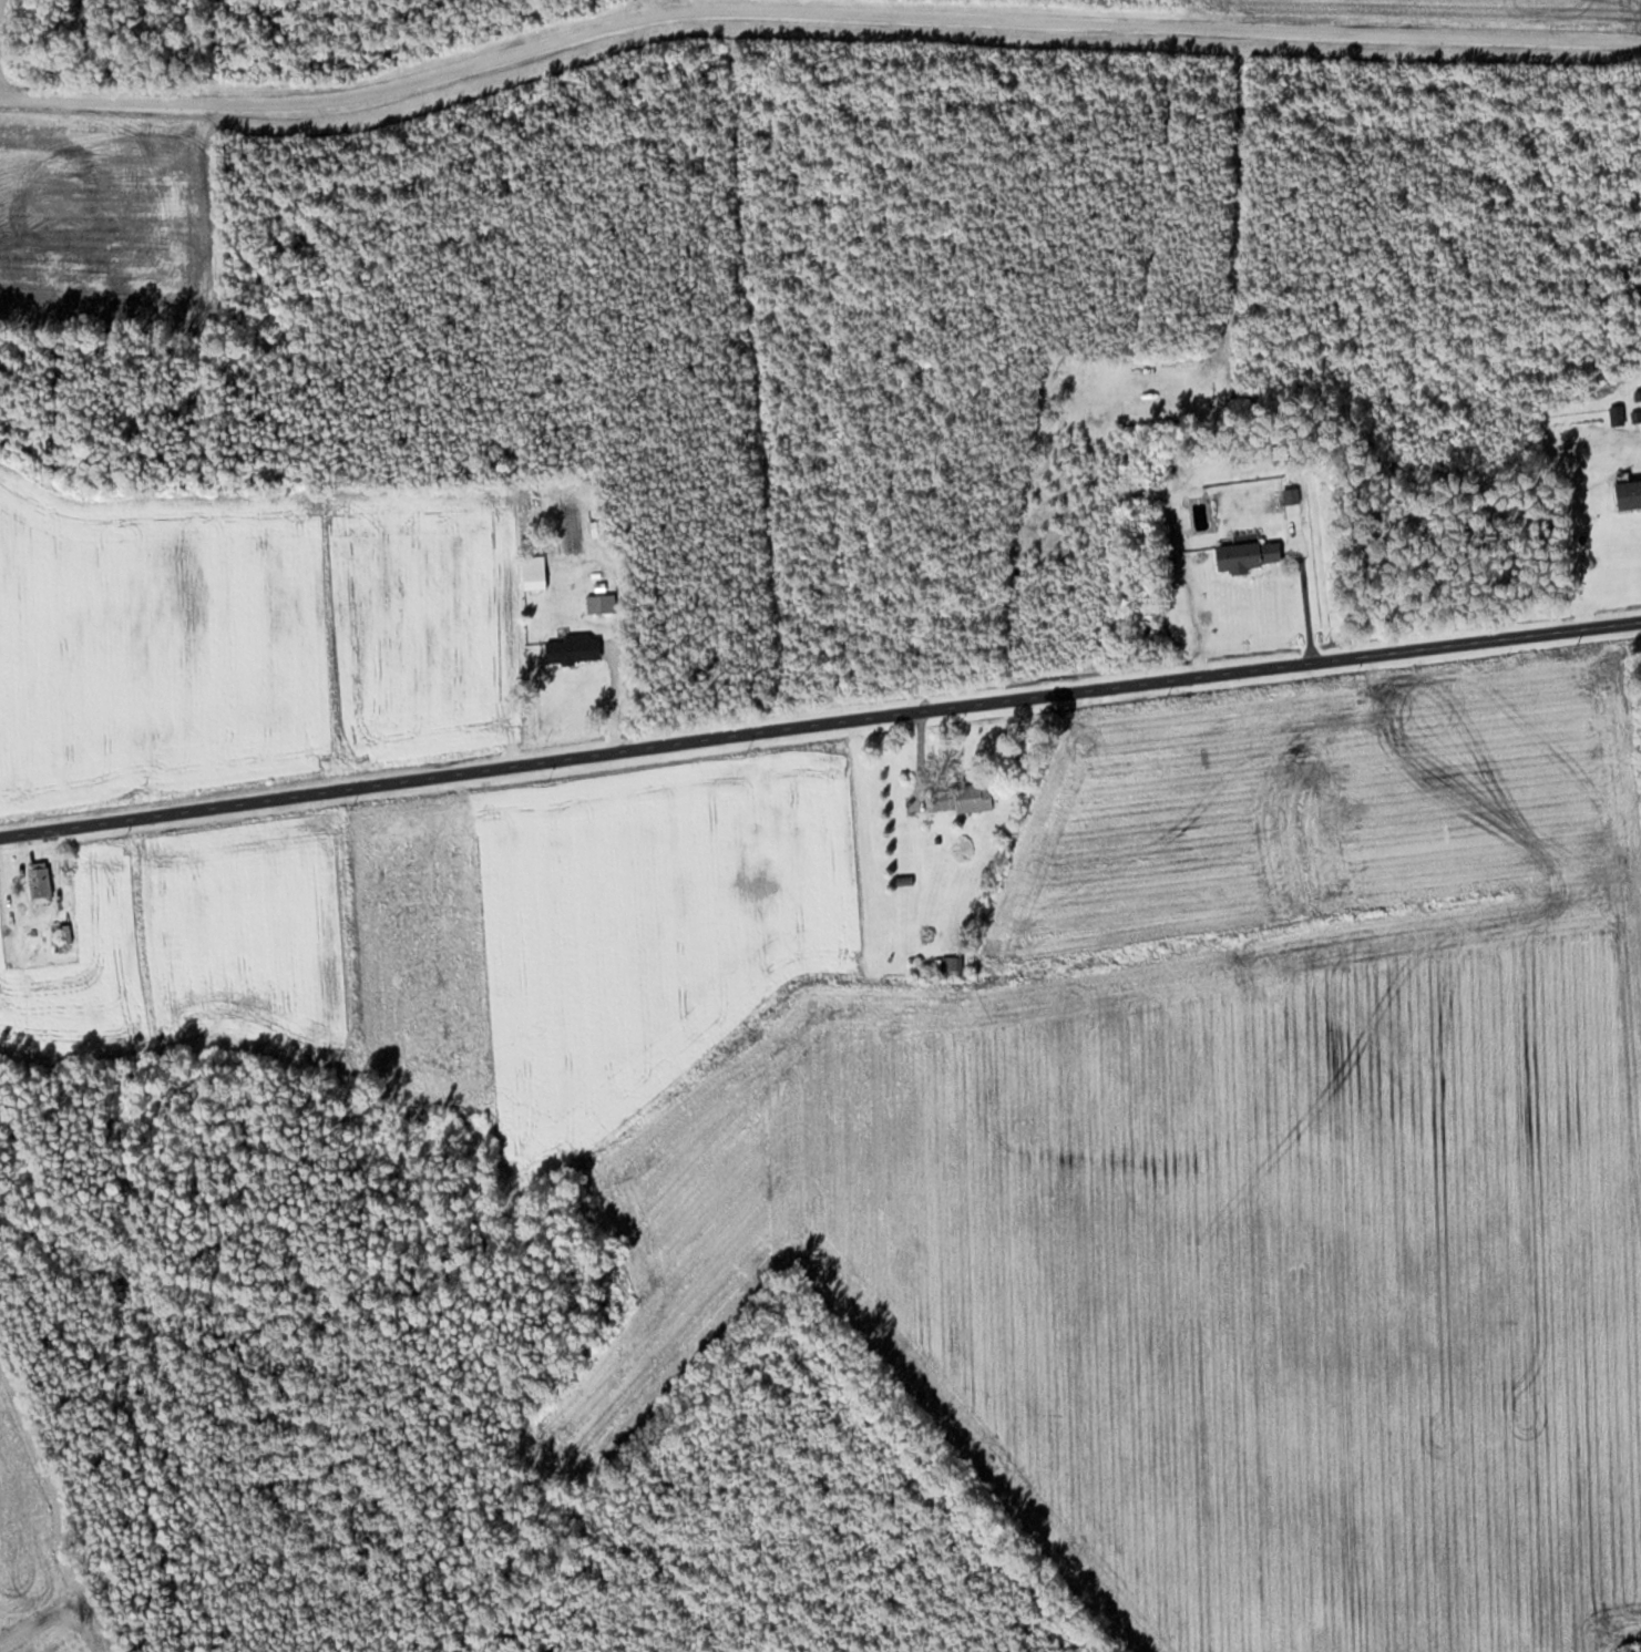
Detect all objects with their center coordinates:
road: (814, 12)
building: (1618, 414)
building: (1629, 492)
building: (1295, 517)
building: (597, 525)
building: (1249, 554)
building: (535, 571)
building: (602, 602)
building: (575, 647)
road: (820, 724)
building: (963, 797)
building: (40, 881)

